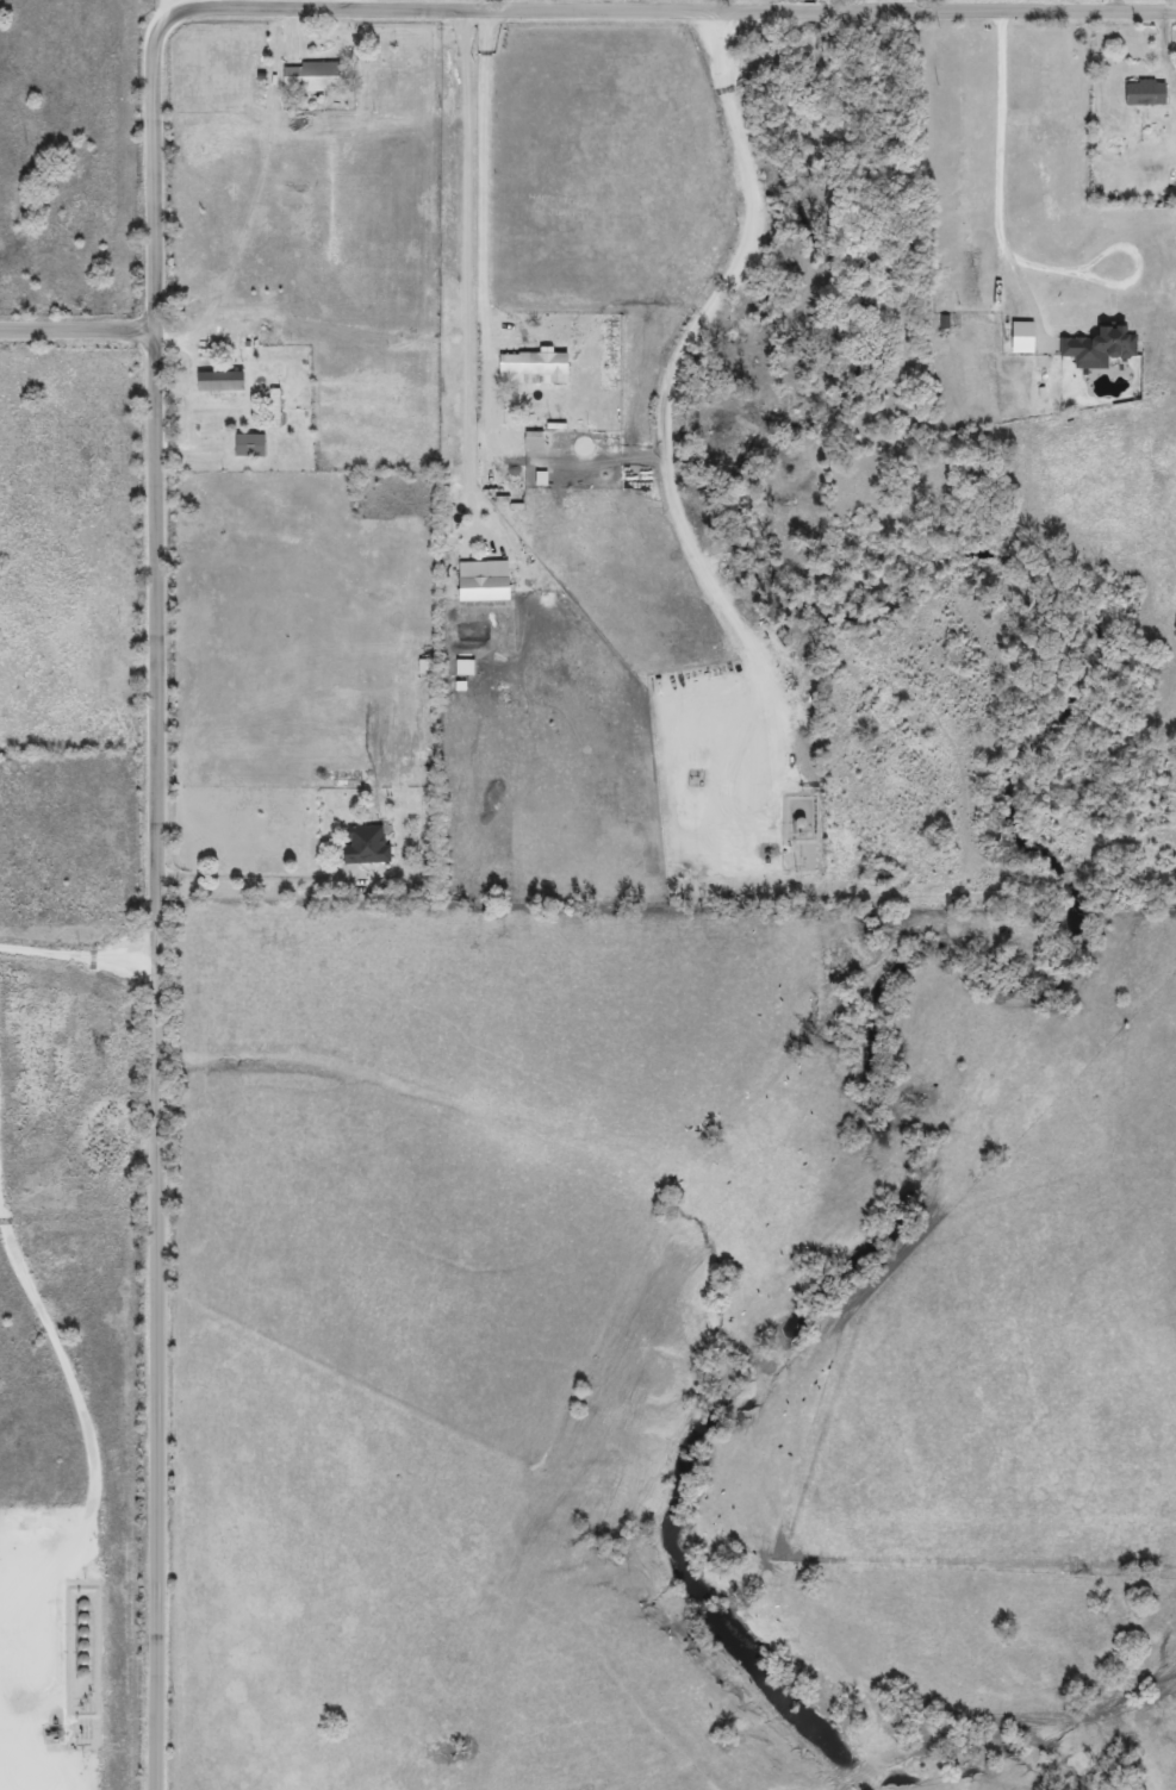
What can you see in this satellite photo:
road: (355, 2)
road: (491, 5)
building: (313, 76)
building: (1147, 93)
building: (1052, 130)
road: (1007, 241)
road: (477, 258)
building: (972, 277)
road: (701, 325)
building: (1101, 345)
building: (535, 363)
building: (222, 380)
building: (275, 407)
building: (251, 444)
building: (485, 588)
building: (367, 844)
road: (250, 868)
road: (81, 956)
road: (163, 987)
road: (86, 1427)

